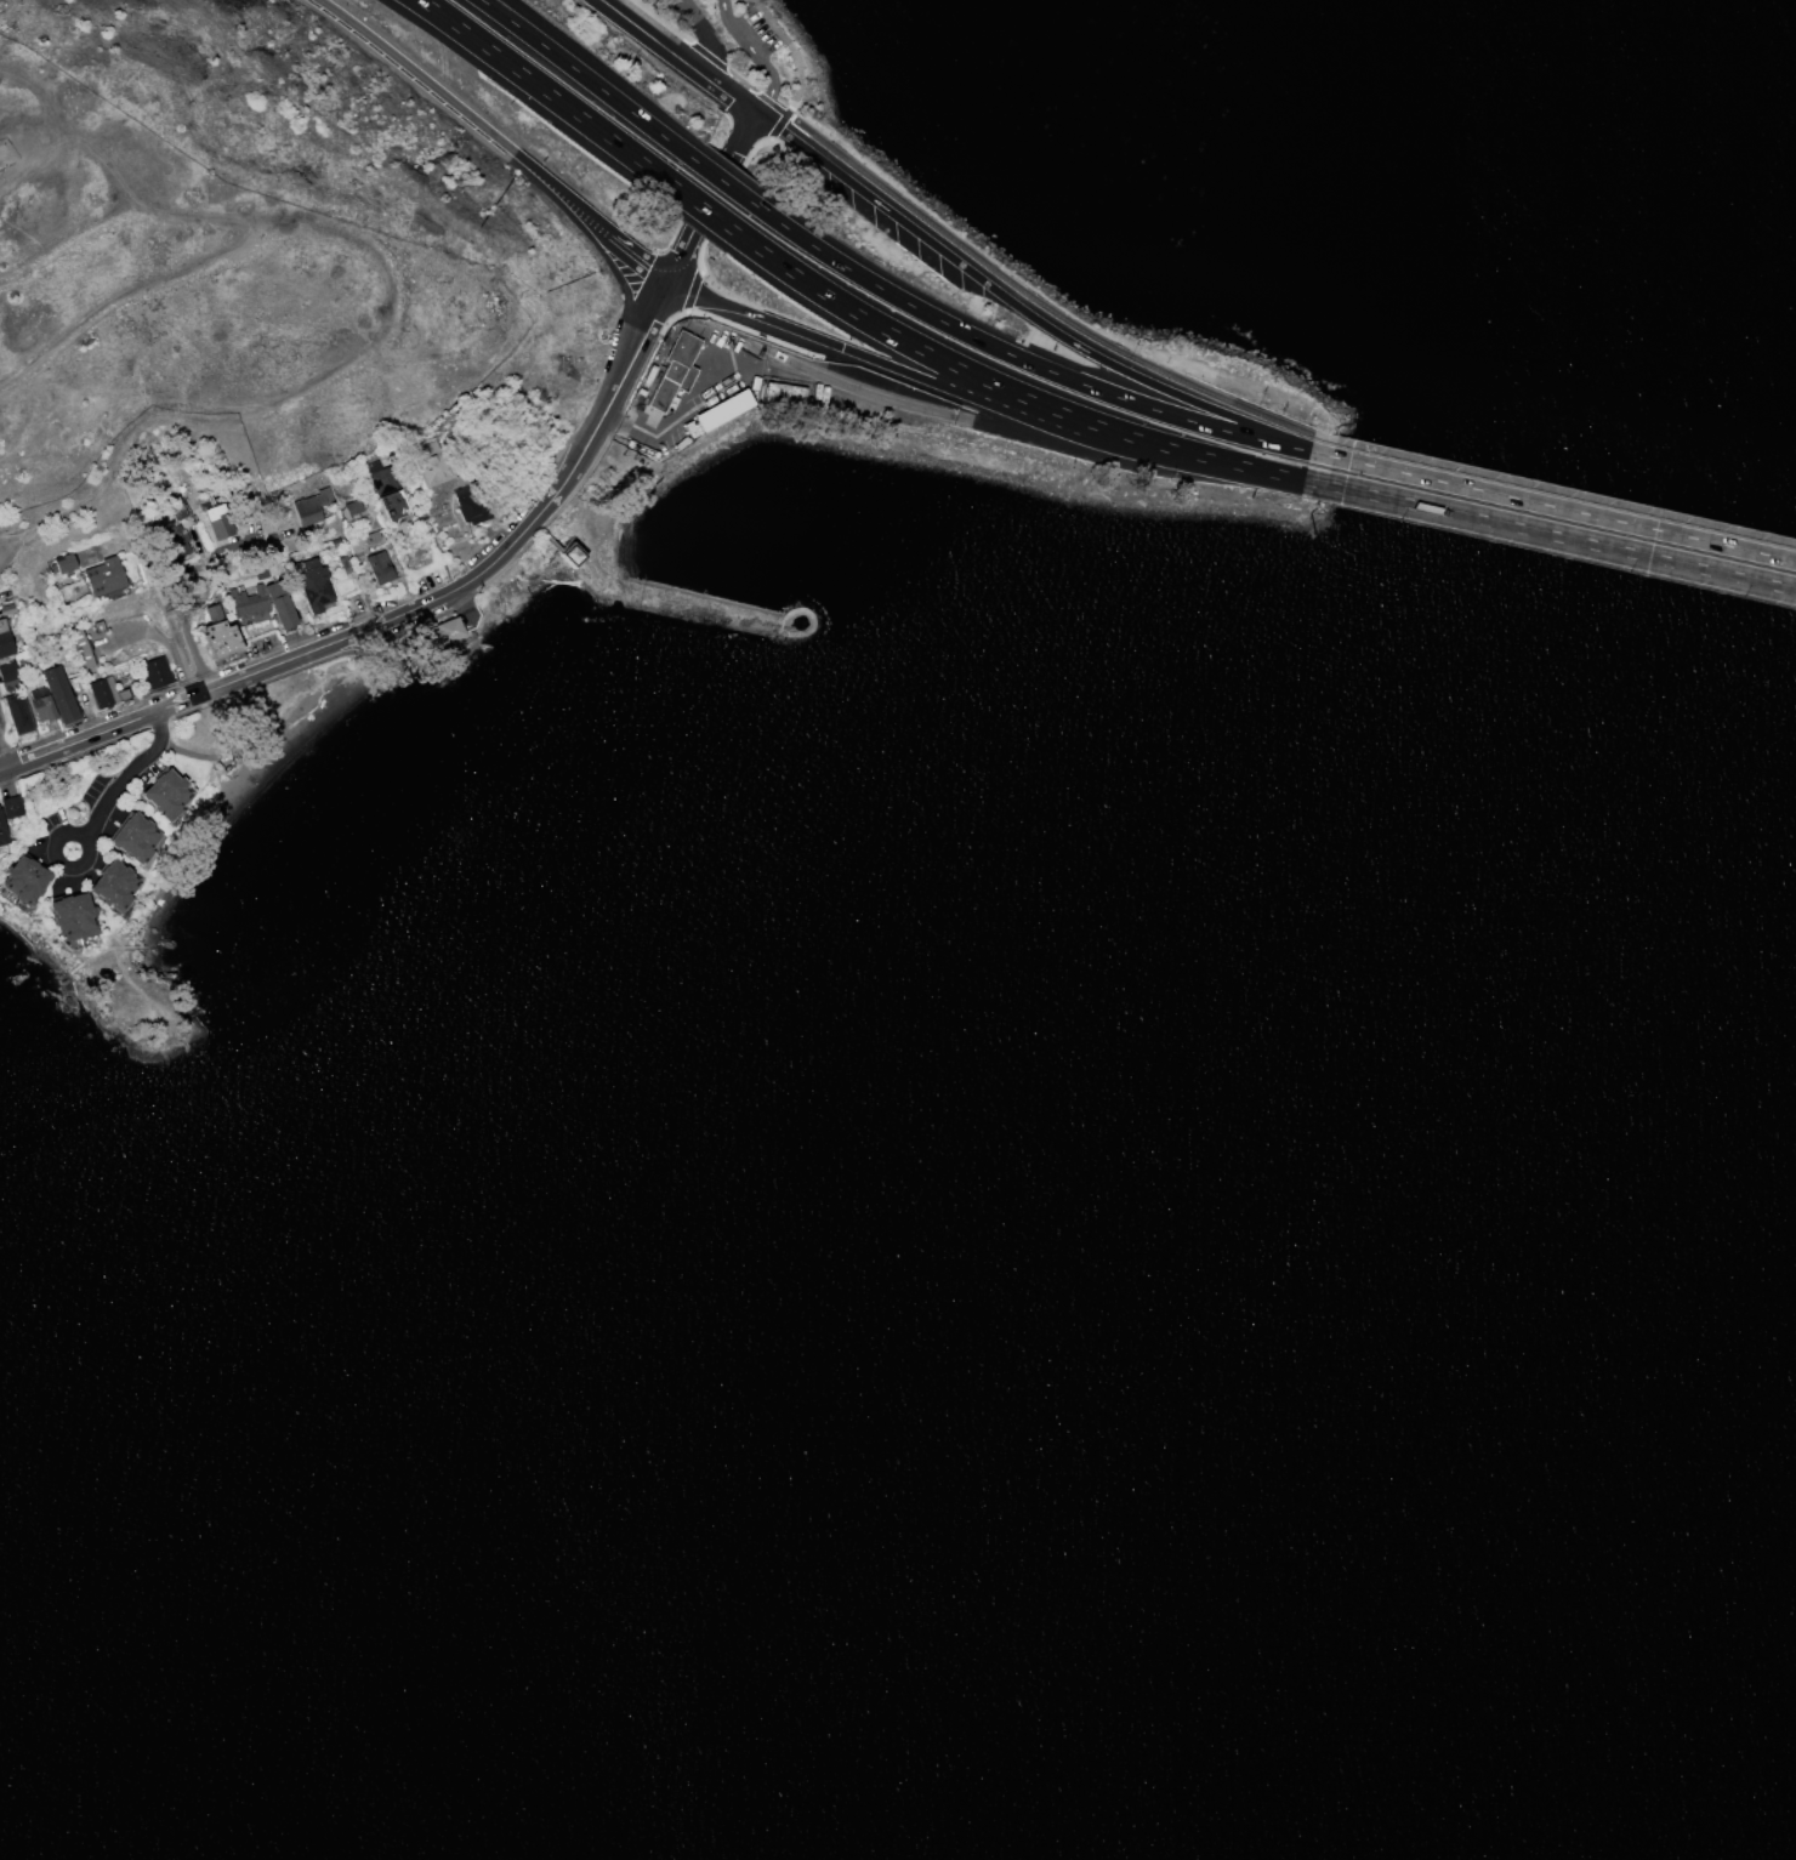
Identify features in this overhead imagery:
road: (707, 34)
parking lot: (756, 39)
road: (794, 53)
road: (709, 56)
road: (676, 57)
road: (760, 57)
road: (417, 74)
road: (587, 79)
road: (550, 95)
road: (721, 181)
road: (564, 192)
road: (711, 195)
road: (721, 206)
road: (705, 211)
road: (602, 241)
road: (642, 254)
road: (1025, 312)
road: (722, 320)
road: (1024, 360)
building: (673, 369)
road: (706, 385)
building: (783, 391)
road: (1012, 393)
road: (989, 403)
road: (1239, 404)
building: (717, 411)
road: (610, 416)
road: (1002, 427)
building: (623, 442)
building: (641, 450)
building: (477, 457)
building: (430, 462)
building: (380, 478)
building: (392, 505)
building: (470, 505)
building: (309, 506)
building: (176, 507)
building: (352, 507)
road: (1563, 507)
building: (217, 521)
building: (370, 537)
road: (1561, 537)
building: (172, 540)
building: (334, 540)
road: (7, 545)
building: (570, 554)
road: (7, 556)
building: (62, 563)
building: (342, 563)
building: (379, 567)
building: (260, 574)
building: (103, 575)
building: (313, 585)
building: (262, 603)
building: (6, 608)
road: (407, 612)
building: (442, 631)
building: (220, 637)
road: (171, 638)
building: (4, 639)
building: (81, 647)
building: (7, 671)
building: (155, 671)
building: (106, 692)
building: (58, 693)
building: (41, 704)
building: (18, 712)
road: (237, 723)
road: (2, 762)
road: (123, 783)
building: (165, 794)
building: (10, 807)
building: (2, 832)
building: (133, 837)
building: (24, 878)
building: (113, 885)
building: (72, 916)

